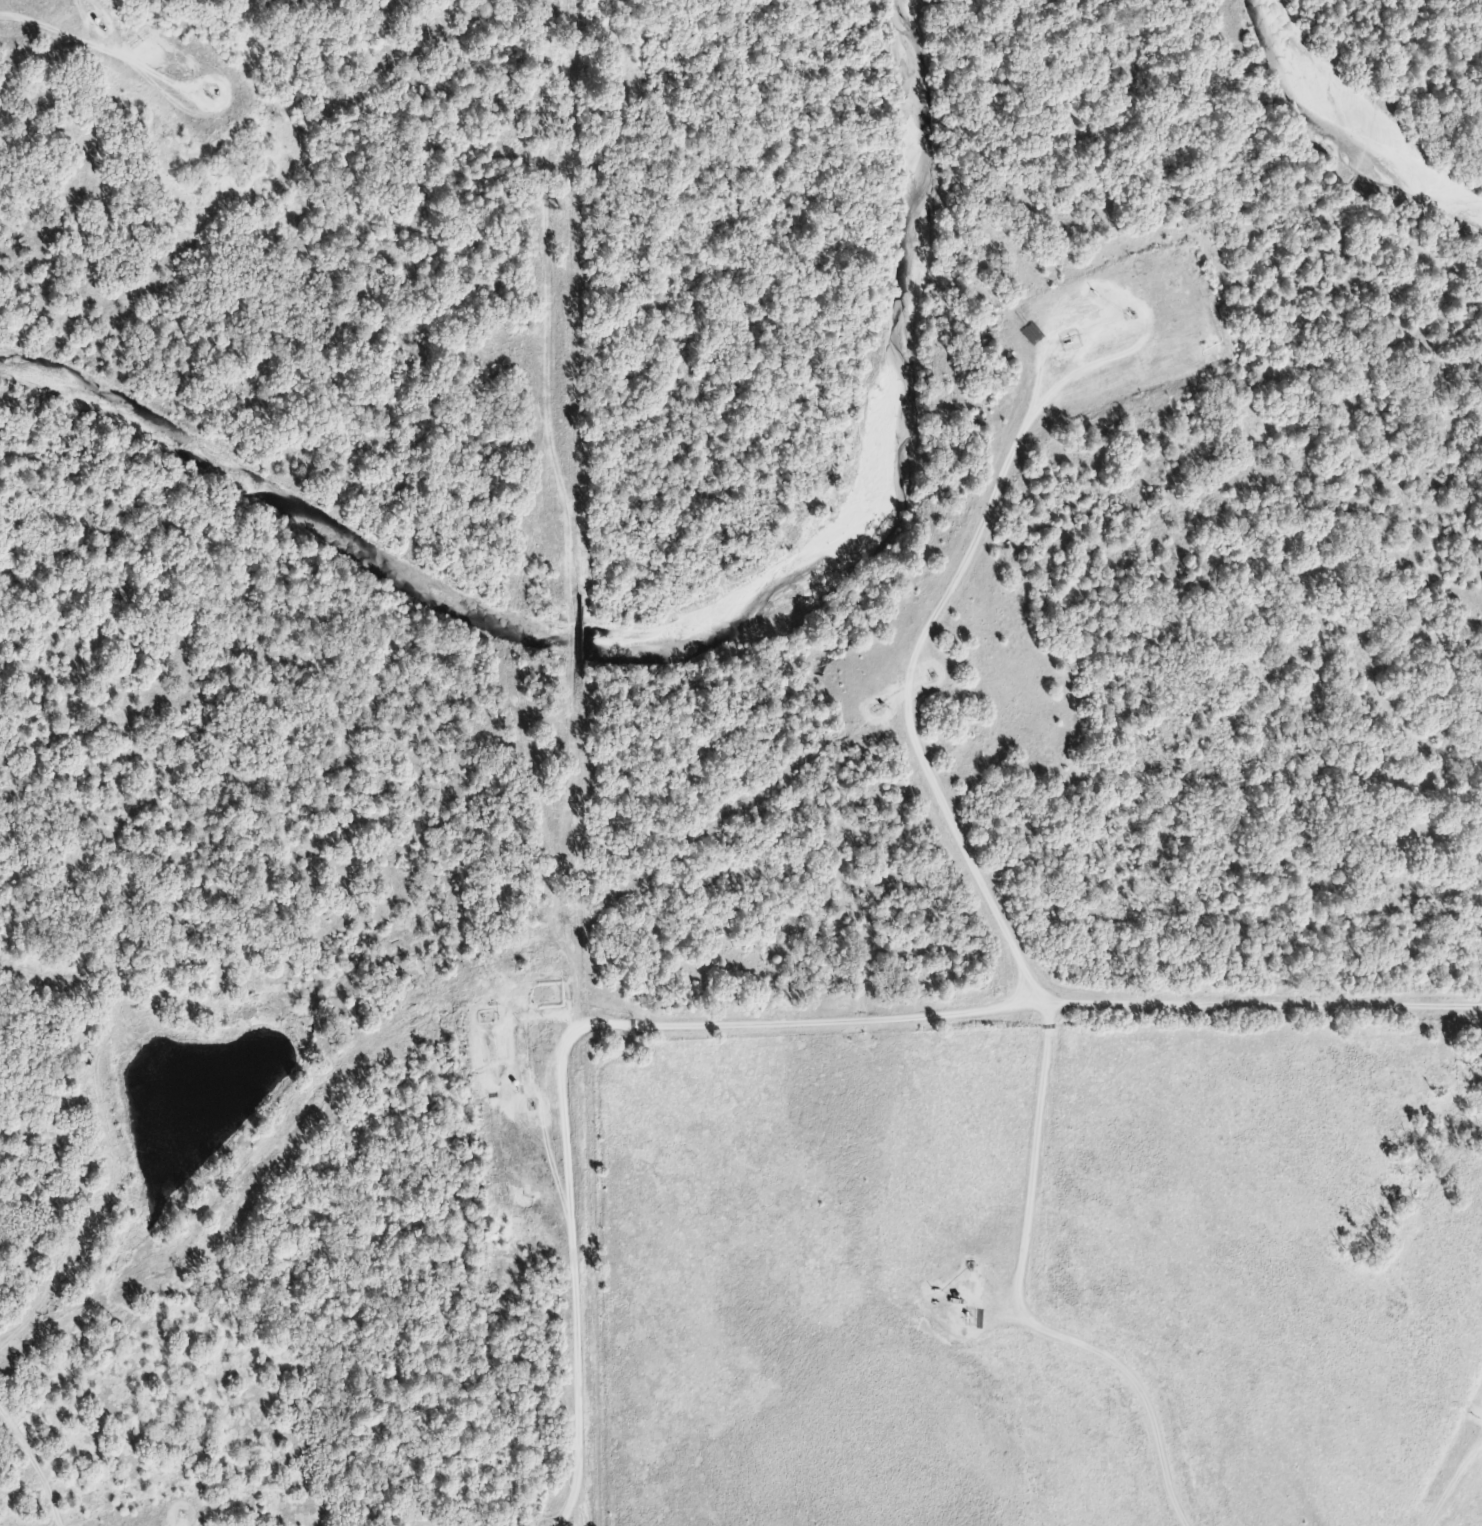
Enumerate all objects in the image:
road: (1099, 1002)
road: (1025, 1301)
road: (111, 1515)
road: (40, 1525)

